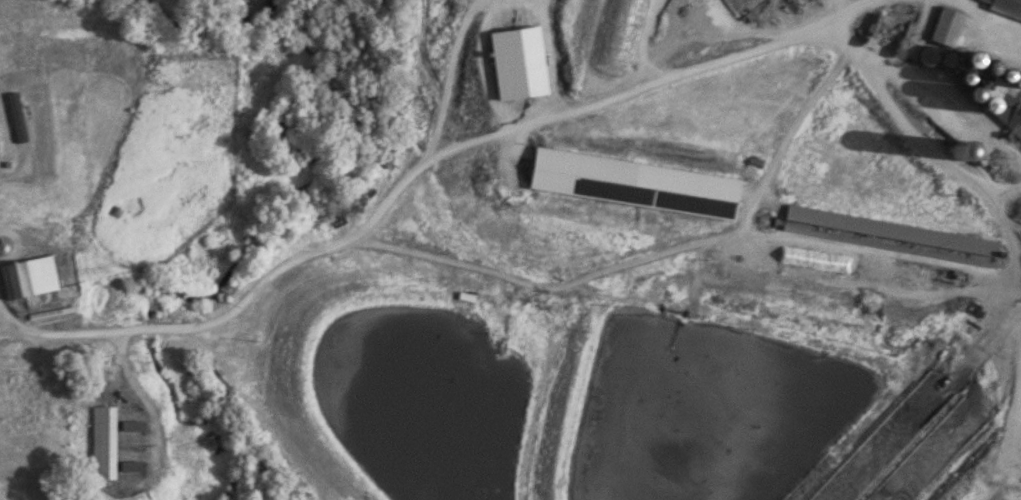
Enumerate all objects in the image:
building: (741, 6)
building: (1002, 9)
road: (983, 13)
river: (208, 28)
building: (1009, 111)
road: (413, 172)
building: (891, 238)
building: (27, 277)
building: (43, 385)
building: (134, 425)
building: (106, 442)
building: (133, 466)

